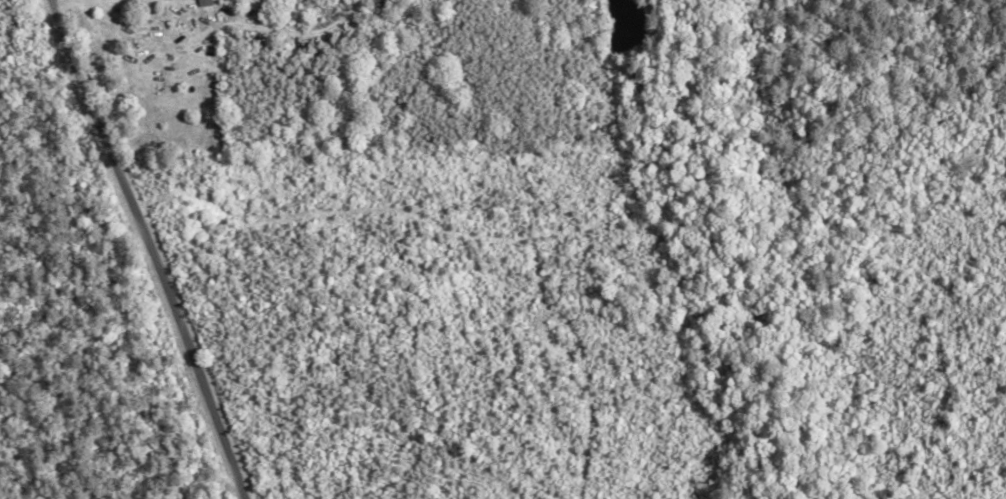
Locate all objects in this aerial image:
building: (207, 3)
road: (141, 248)

